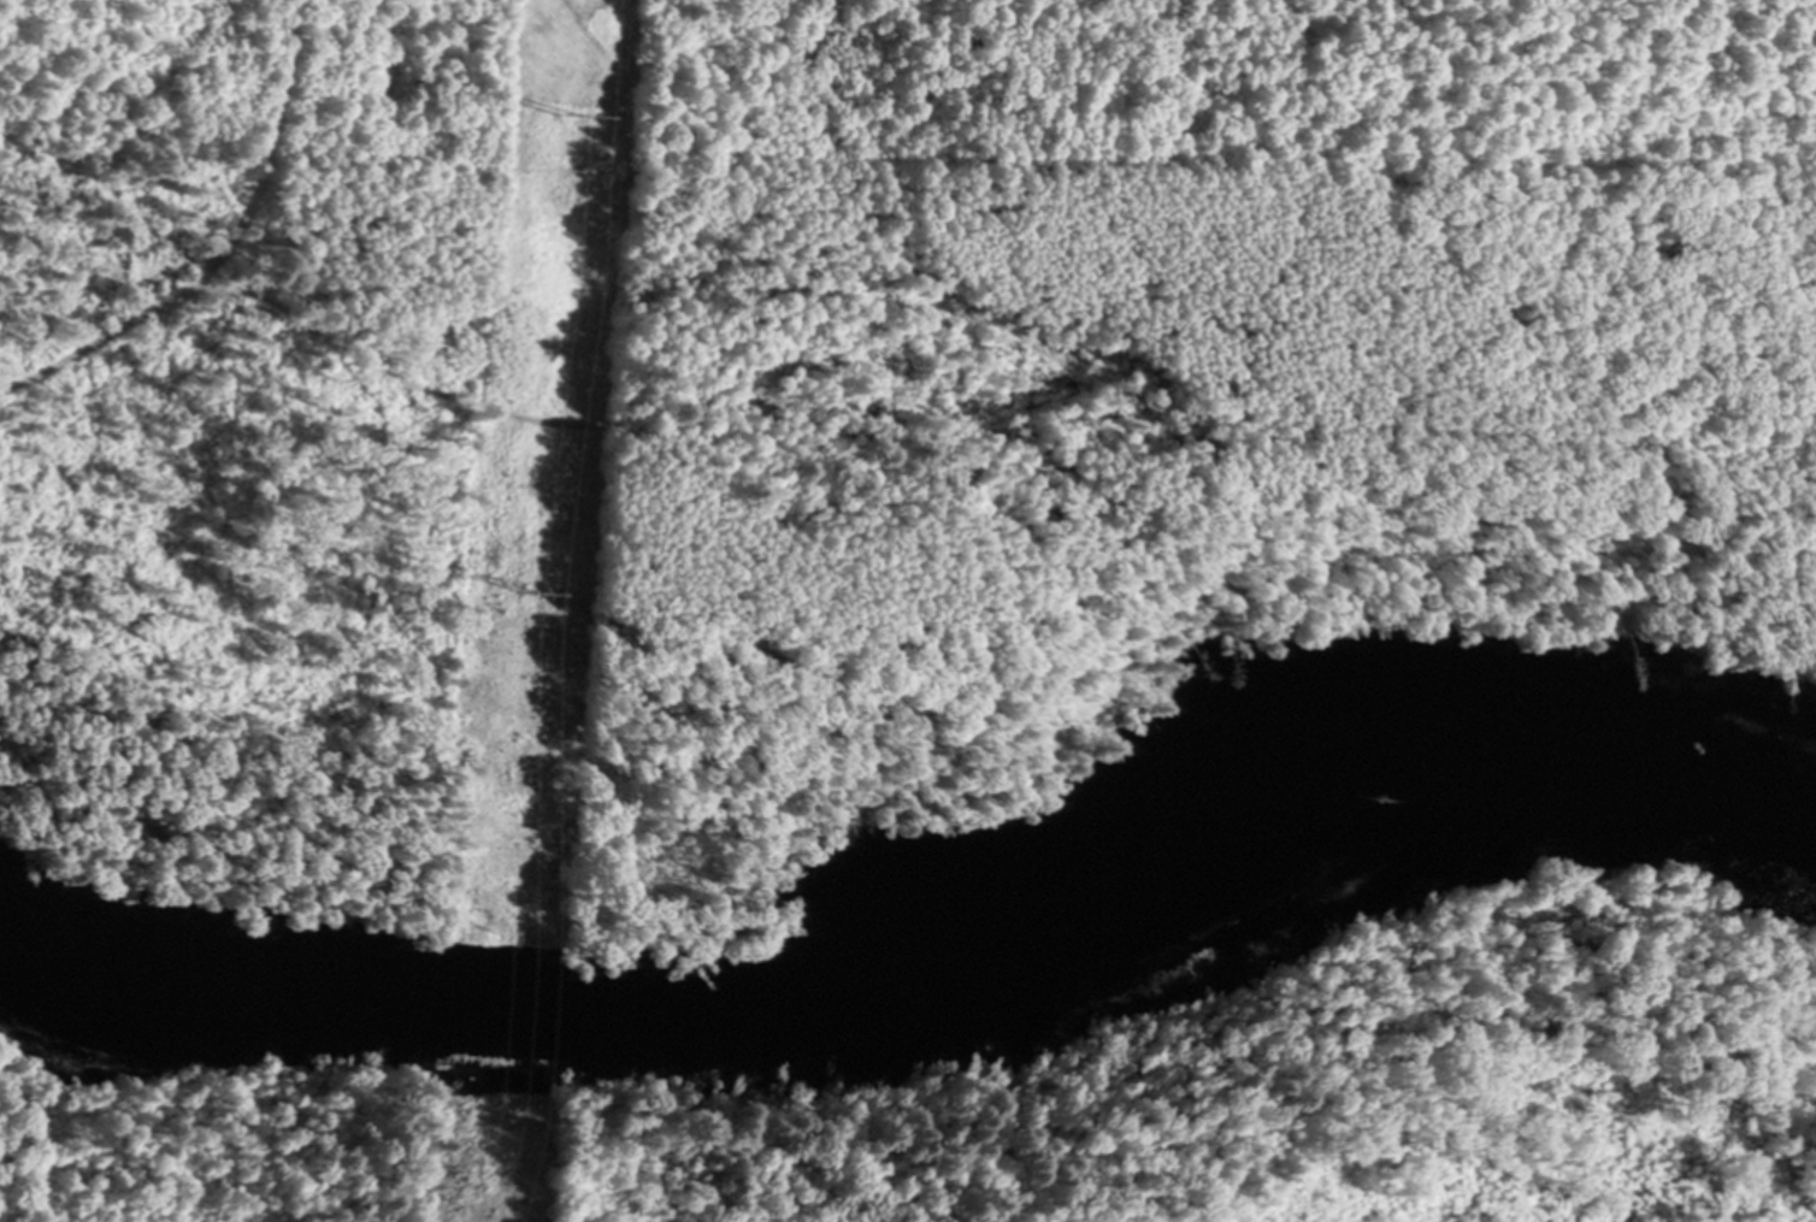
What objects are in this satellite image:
power tower: (561, 112)
power tower: (523, 590)
river: (927, 949)

